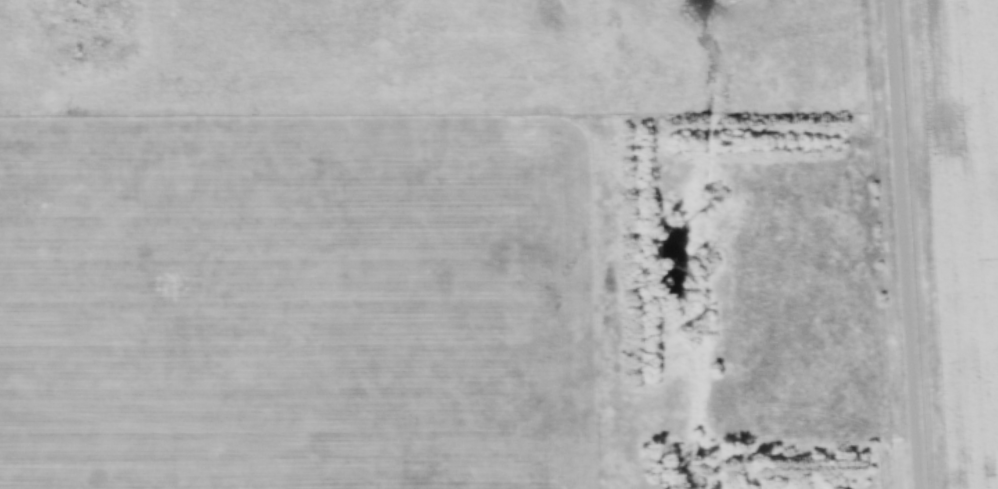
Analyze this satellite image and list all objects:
road: (907, 244)

